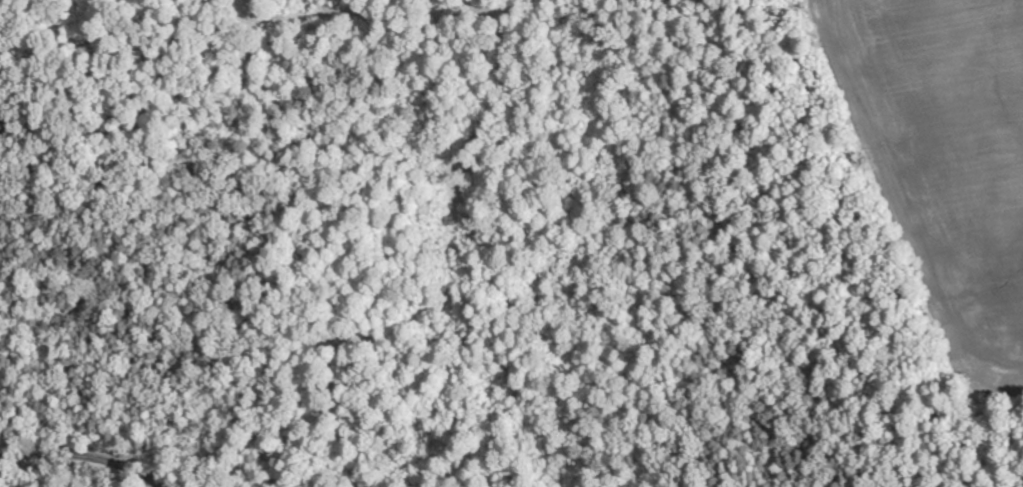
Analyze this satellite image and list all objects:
road: (80, 461)

